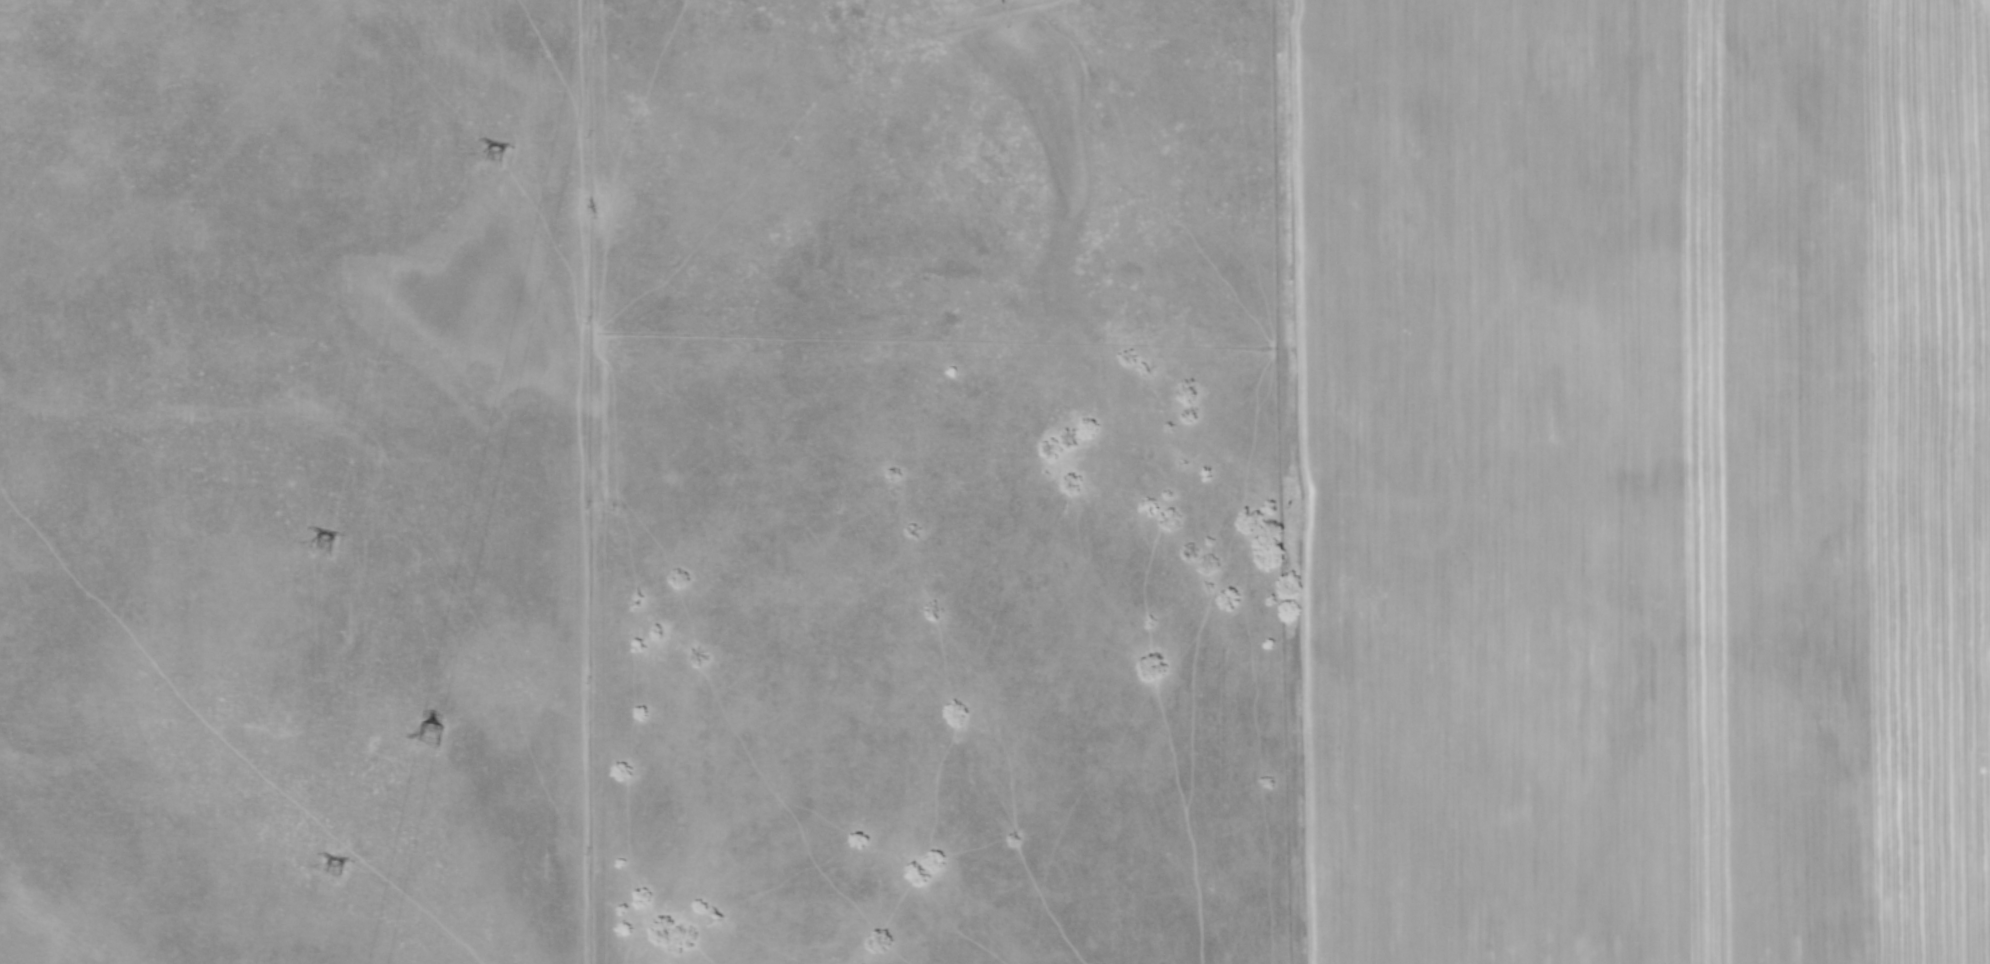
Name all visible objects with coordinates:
power tower: (484, 156)
crop: (977, 491)
power tower: (325, 543)
power tower: (435, 735)
power tower: (325, 863)

